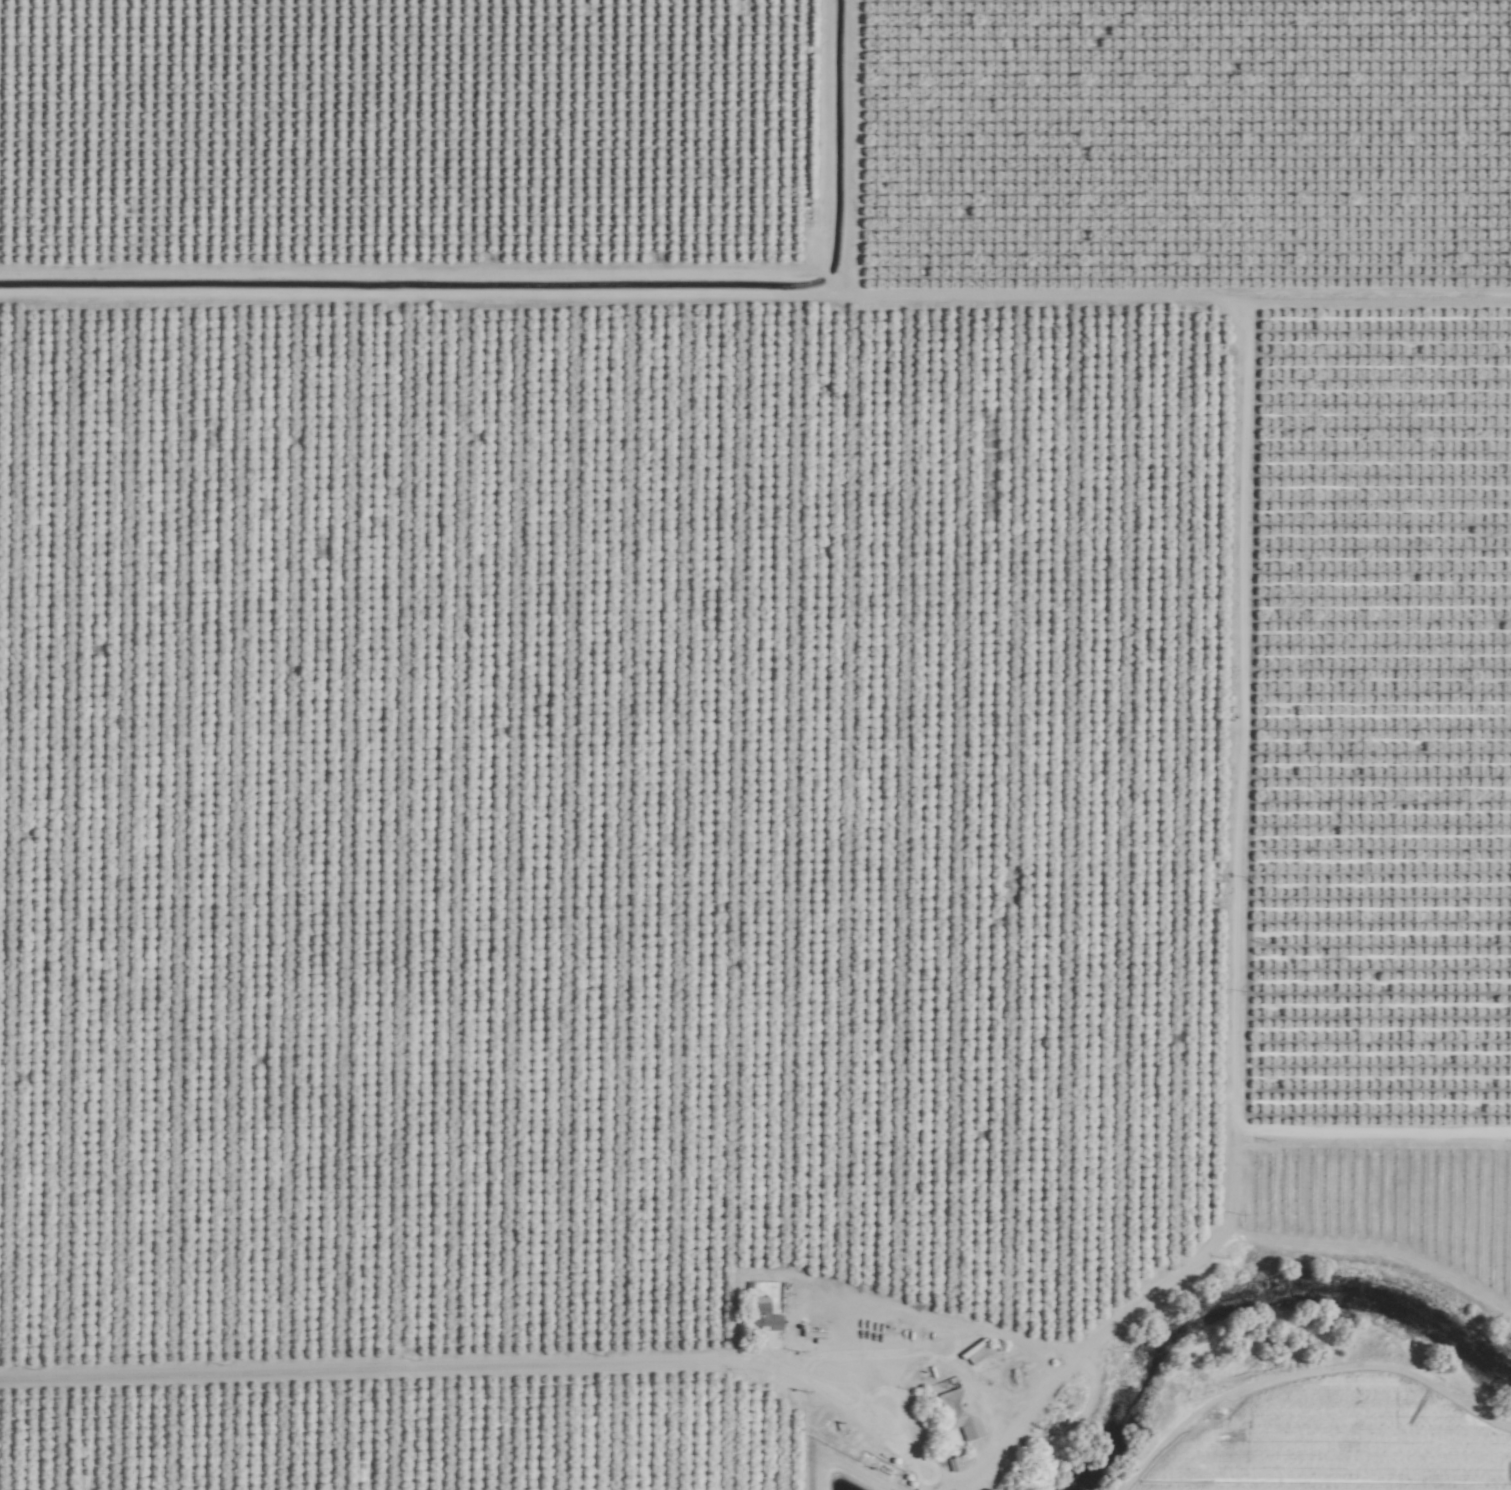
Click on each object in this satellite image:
road: (1208, 1238)
road: (432, 1366)
building: (959, 1413)

